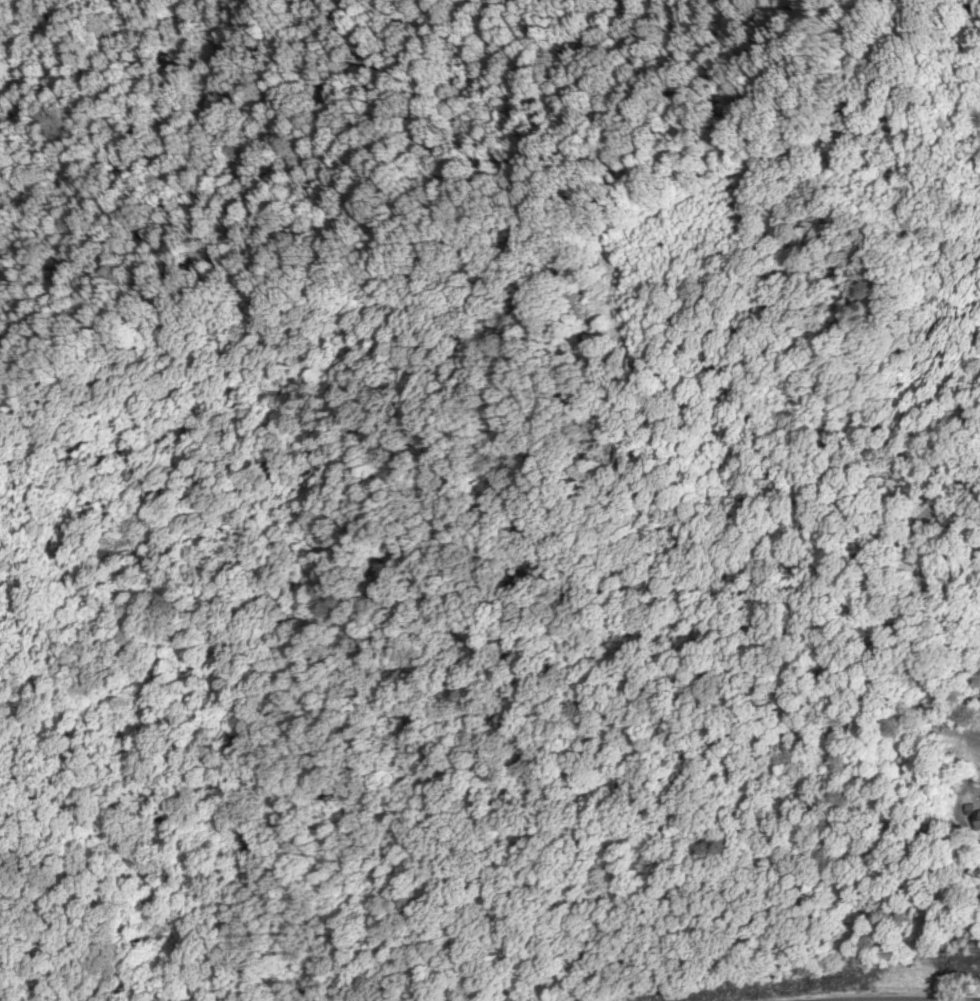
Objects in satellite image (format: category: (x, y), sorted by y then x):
building: (979, 816)
road: (903, 1000)

